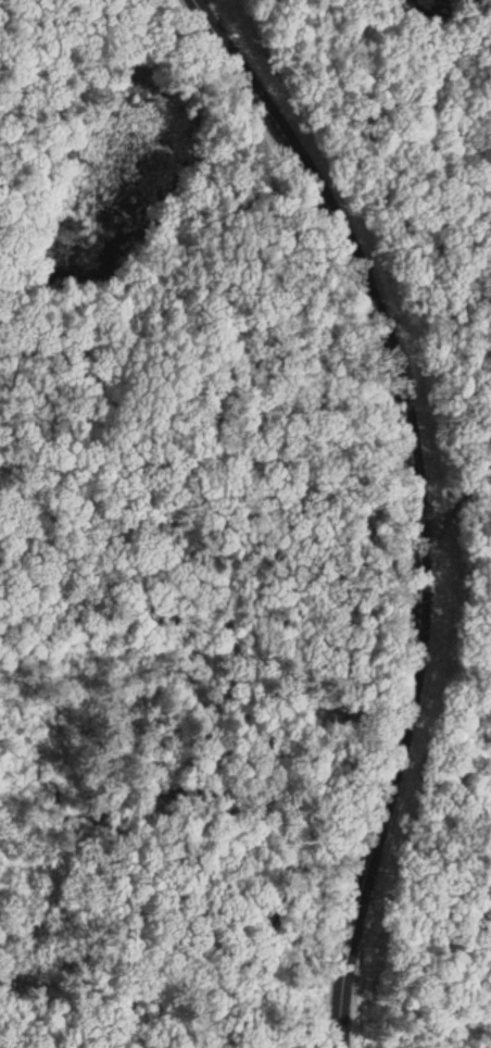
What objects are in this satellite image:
road: (171, 18)
road: (207, 473)
road: (456, 494)
road: (421, 506)

